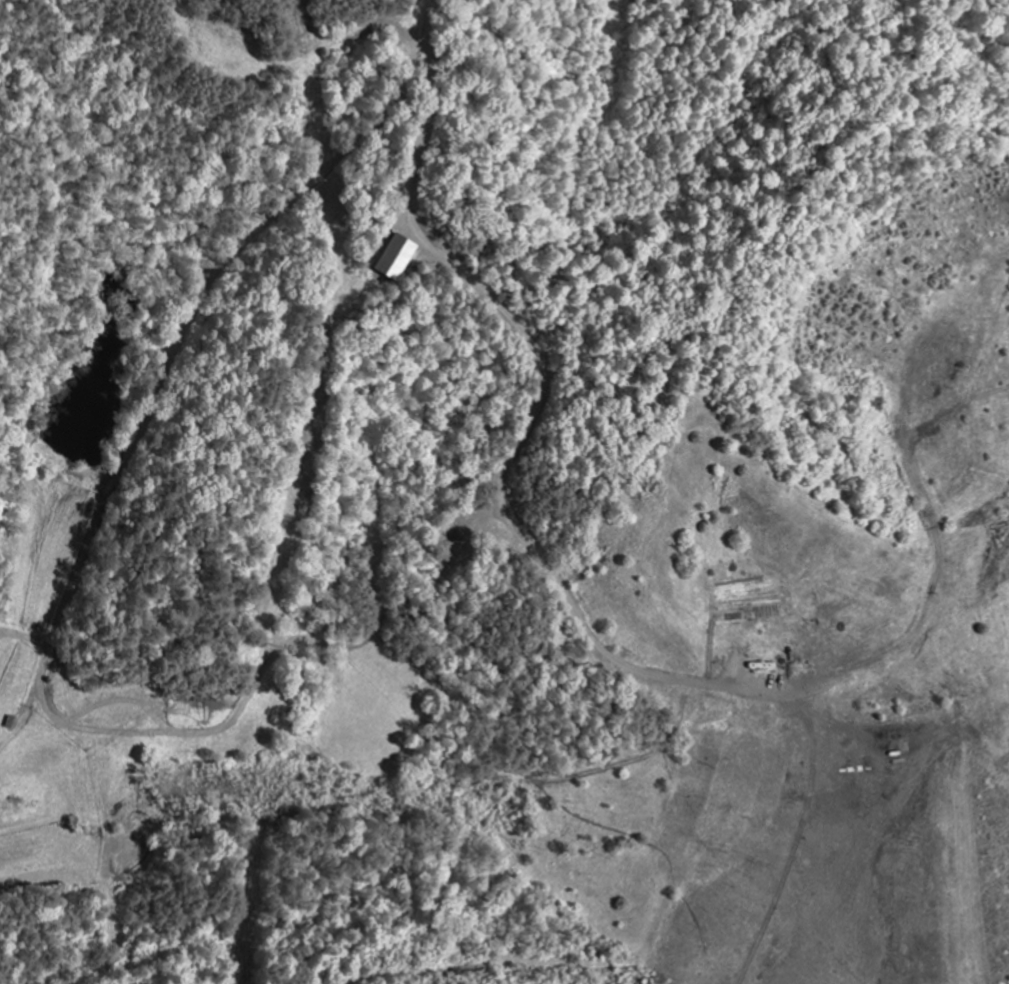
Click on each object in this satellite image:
building: (397, 257)
landfill: (823, 810)

